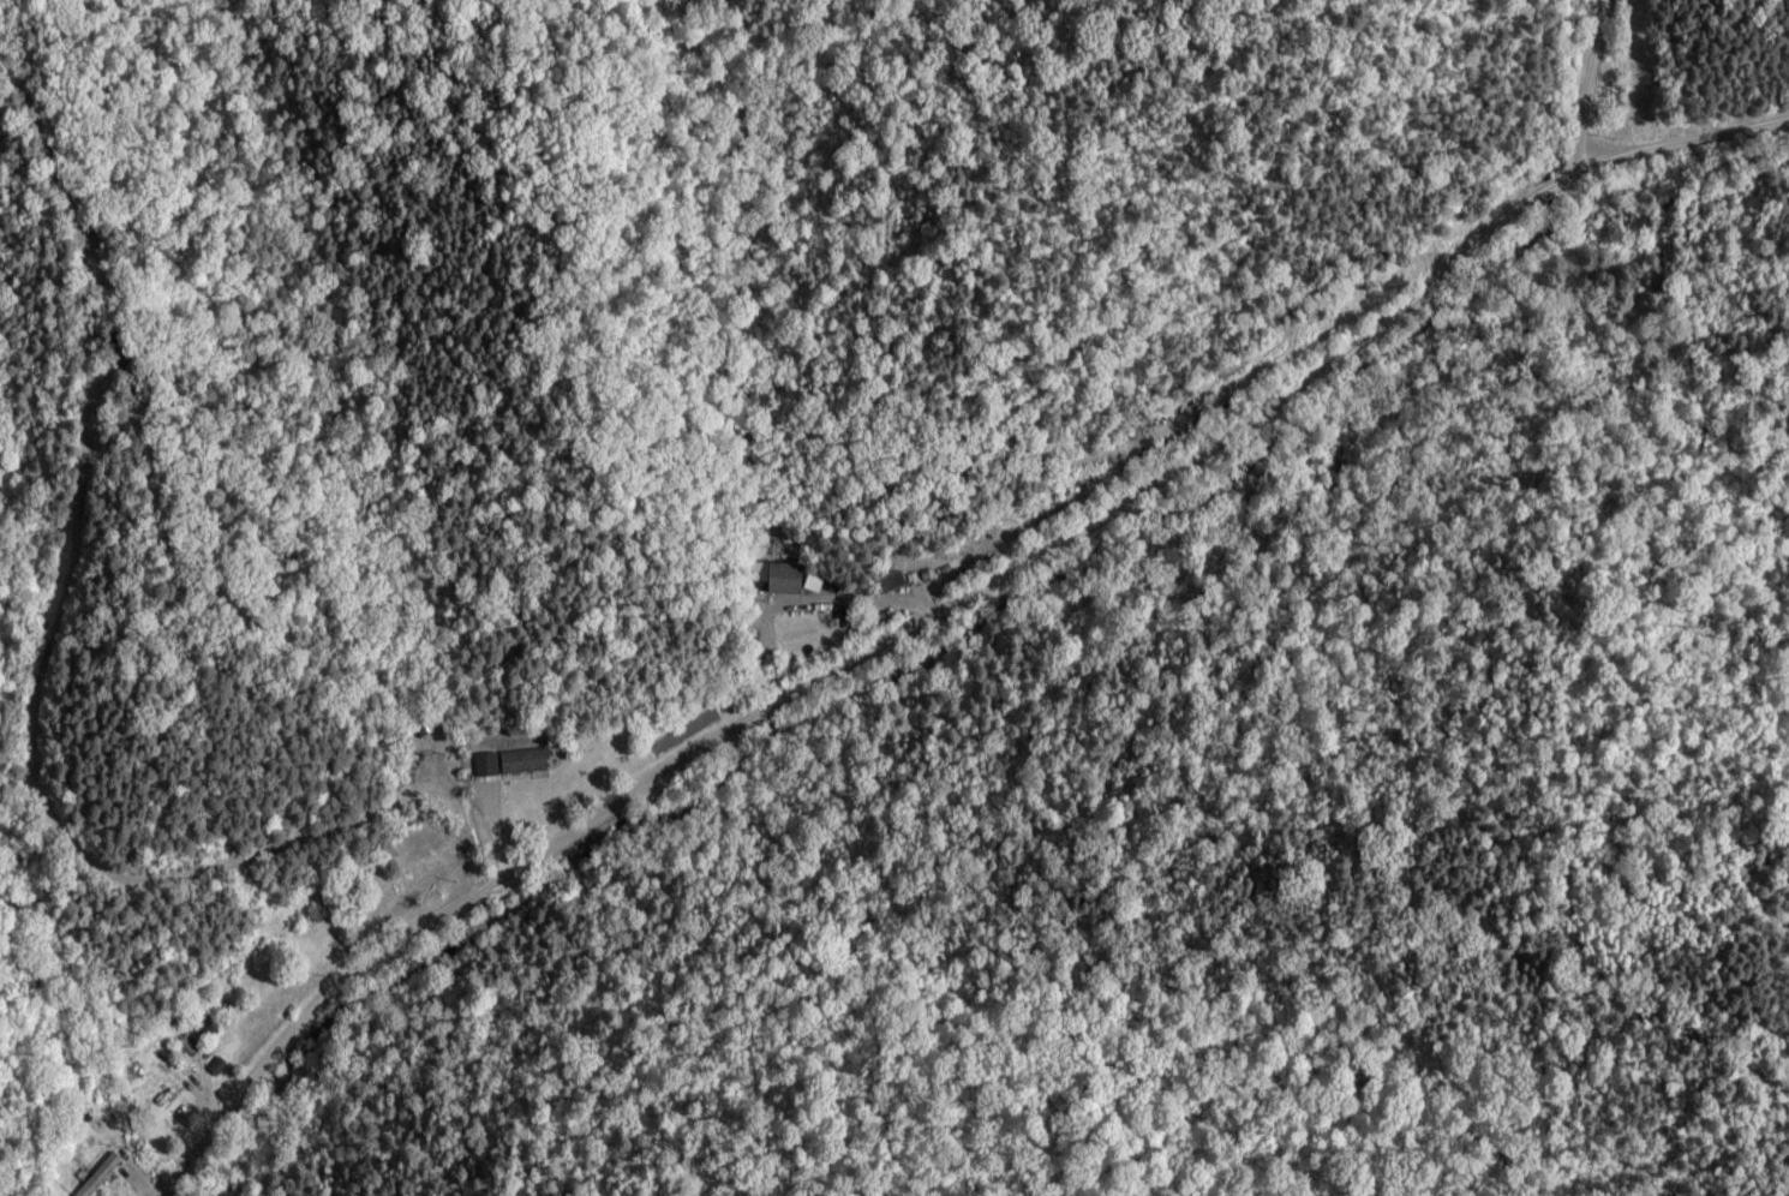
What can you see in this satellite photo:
road: (1598, 91)
road: (989, 651)
building: (517, 760)
building: (485, 765)
building: (85, 1189)

